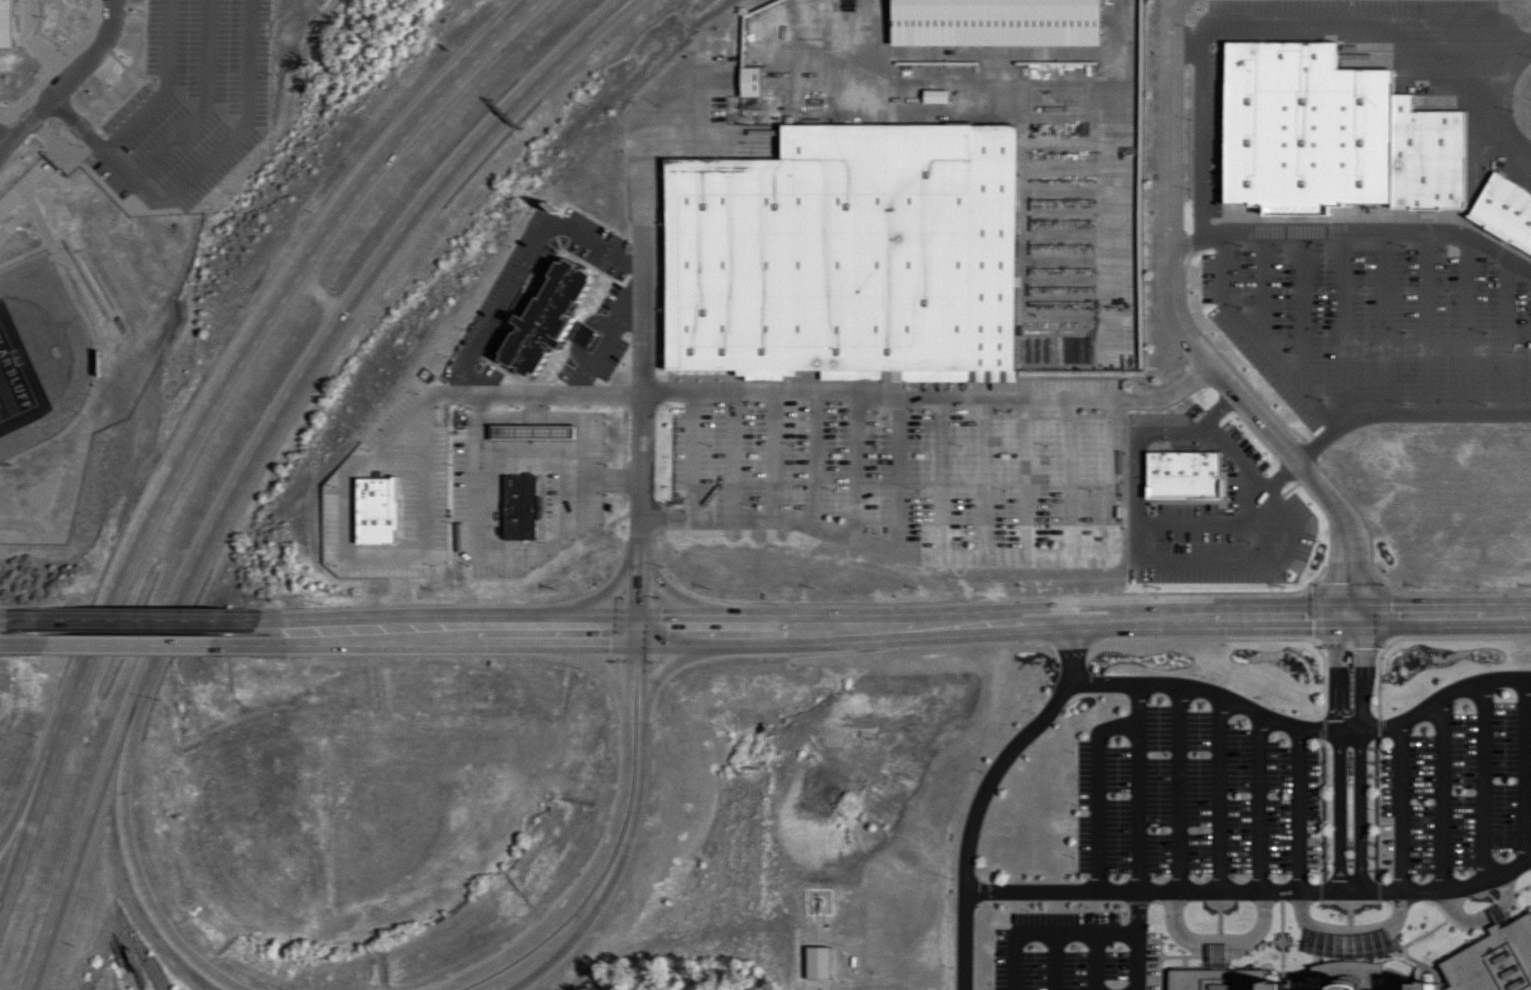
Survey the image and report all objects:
road: (89, 48)
road: (26, 96)
road: (430, 109)
road: (26, 119)
road: (494, 130)
building: (1489, 149)
building: (1265, 247)
road: (312, 254)
building: (858, 255)
road: (356, 292)
road: (316, 298)
road: (258, 334)
road: (1187, 335)
road: (638, 343)
road: (310, 359)
park: (14, 380)
road: (928, 394)
building: (1287, 456)
building: (1087, 531)
building: (427, 551)
road: (950, 559)
road: (879, 621)
road: (143, 629)
road: (30, 630)
road: (97, 648)
building: (394, 675)
building: (1088, 679)
road: (141, 688)
building: (1158, 701)
building: (1511, 708)
building: (1249, 715)
road: (1298, 725)
building: (1109, 726)
building: (1154, 735)
road: (1341, 750)
road: (1365, 752)
road: (976, 790)
building: (1121, 796)
road: (29, 808)
road: (648, 832)
building: (1105, 849)
road: (614, 851)
road: (150, 888)
road: (1247, 890)
building: (1223, 918)

